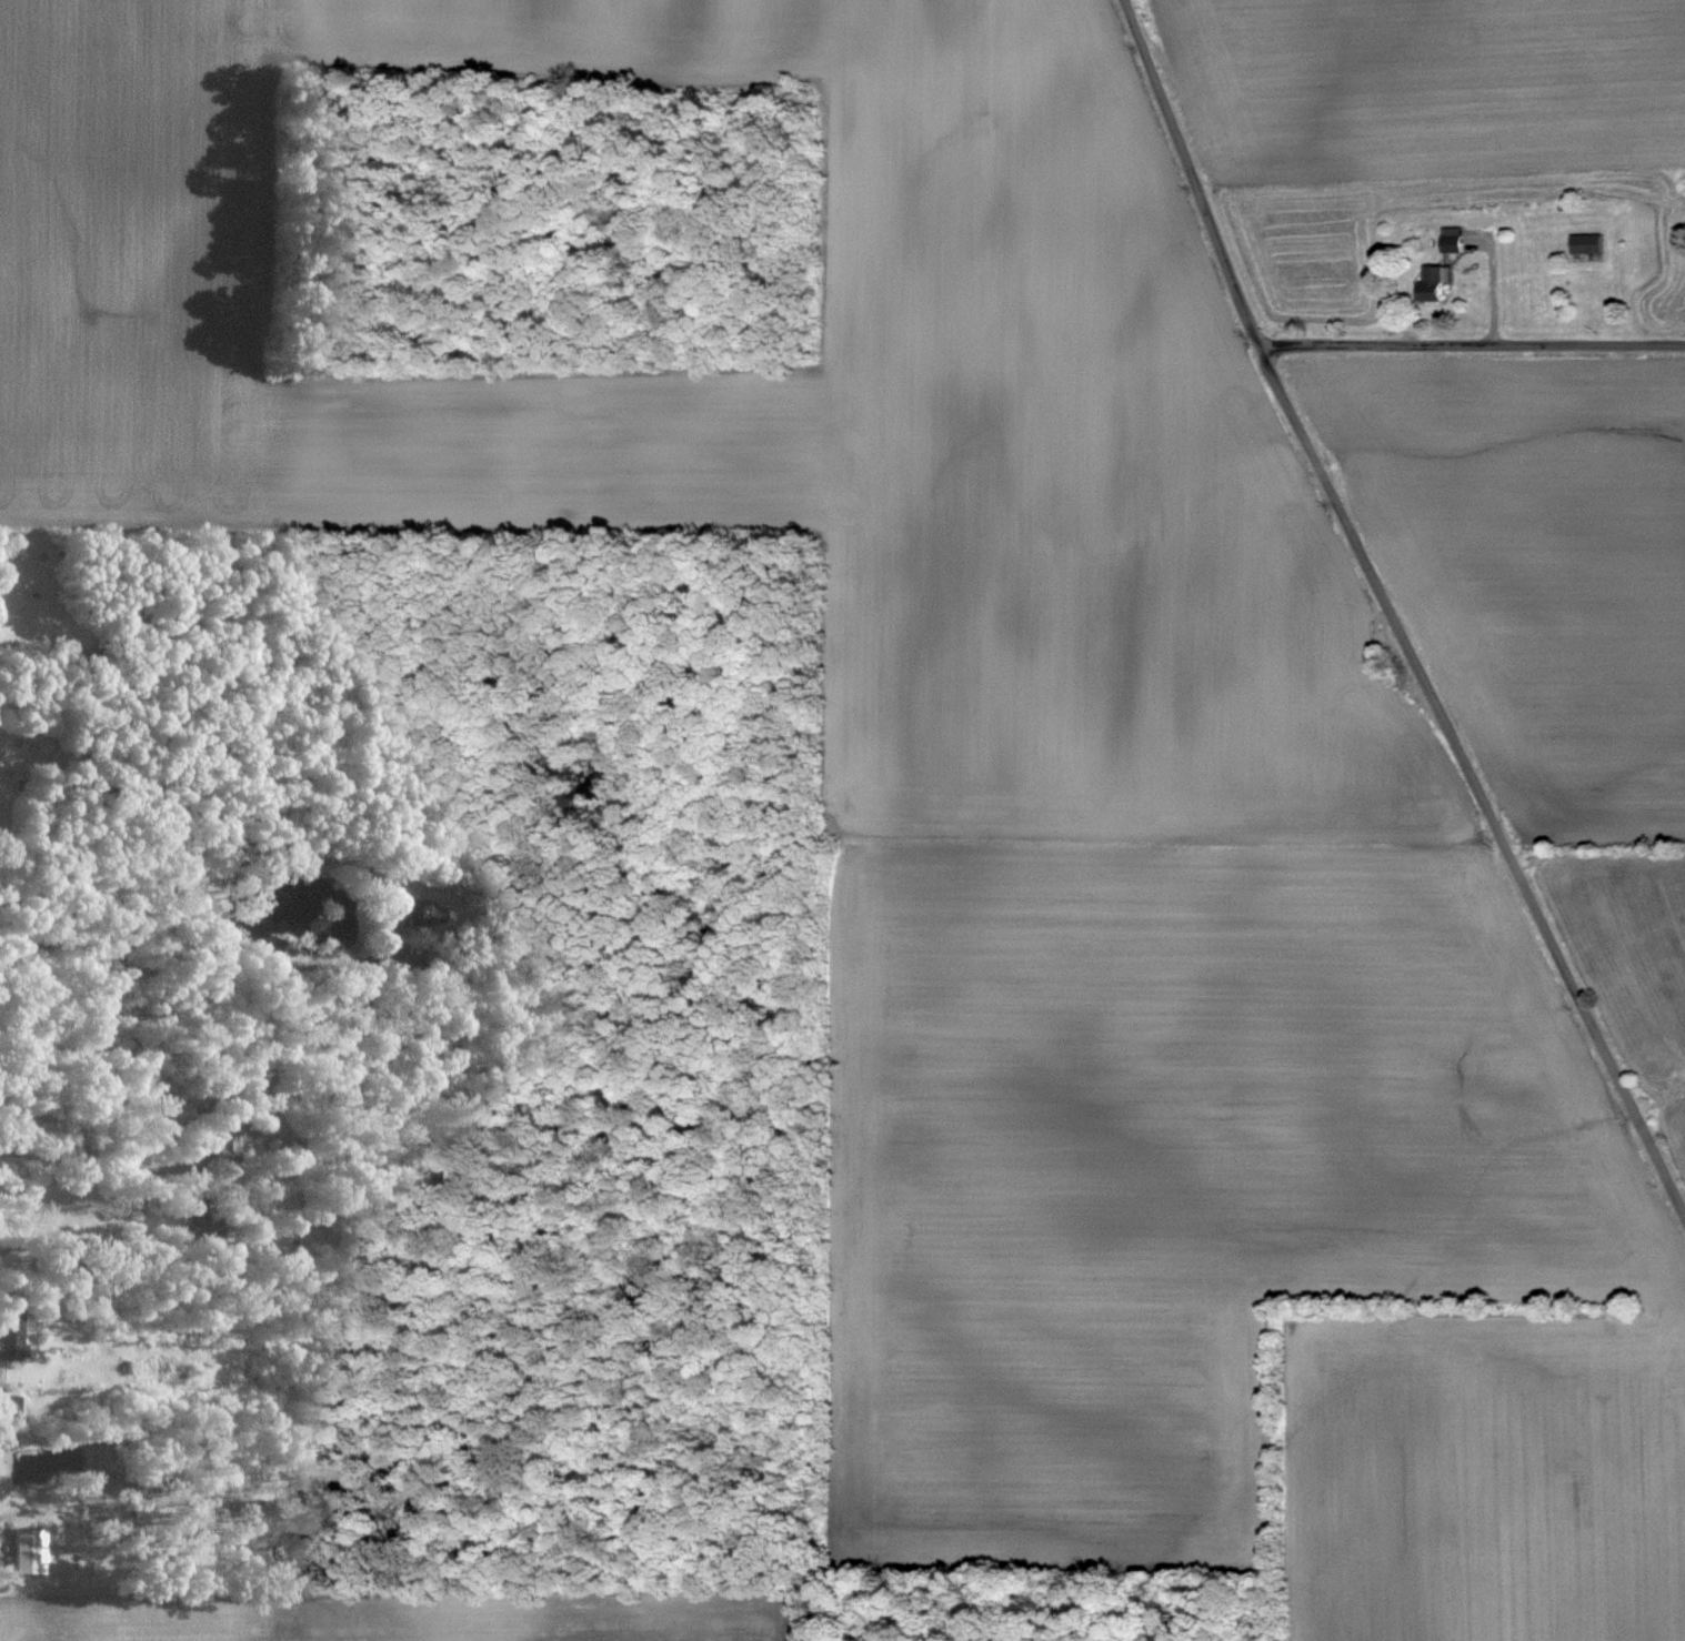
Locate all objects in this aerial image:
building: (1455, 240)
building: (1591, 244)
building: (1438, 282)
road: (1473, 342)
road: (1391, 610)
road: (124, 739)
road: (207, 926)
road: (83, 1164)
building: (11, 1333)
building: (32, 1551)

